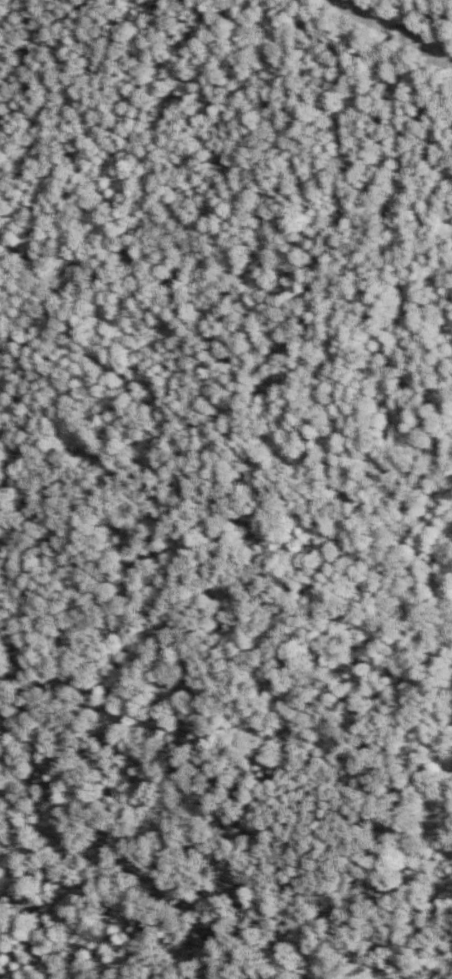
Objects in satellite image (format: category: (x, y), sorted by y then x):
park: (224, 726)

